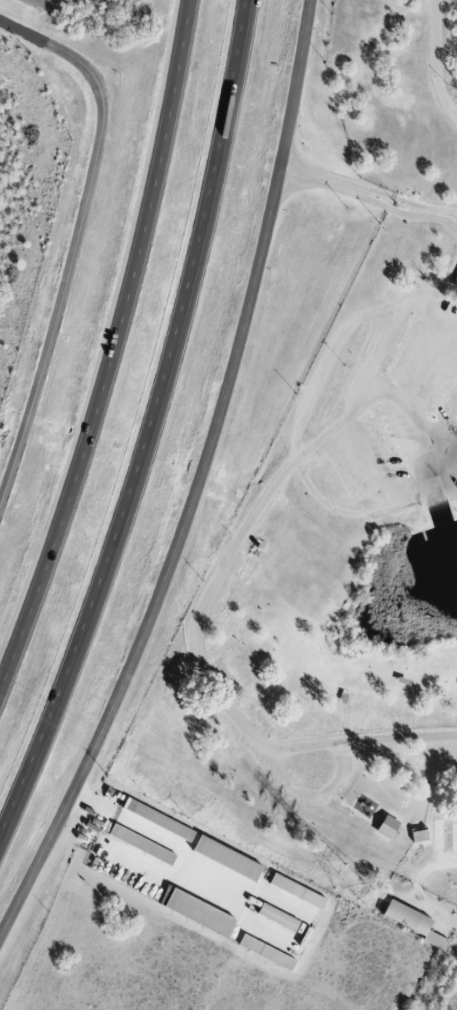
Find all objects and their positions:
road: (68, 54)
road: (441, 63)
road: (370, 194)
road: (442, 223)
building: (454, 282)
road: (433, 314)
road: (59, 317)
road: (393, 332)
road: (113, 349)
road: (428, 367)
parking lot: (404, 401)
road: (409, 415)
road: (151, 429)
road: (320, 438)
road: (362, 467)
road: (201, 482)
road: (378, 511)
park: (342, 543)
road: (195, 639)
road: (400, 737)
road: (341, 766)
road: (291, 786)
building: (157, 819)
building: (385, 826)
road: (154, 830)
building: (418, 835)
building: (140, 844)
building: (225, 858)
power tower: (351, 880)
building: (296, 891)
building: (198, 912)
building: (411, 922)
building: (265, 952)

